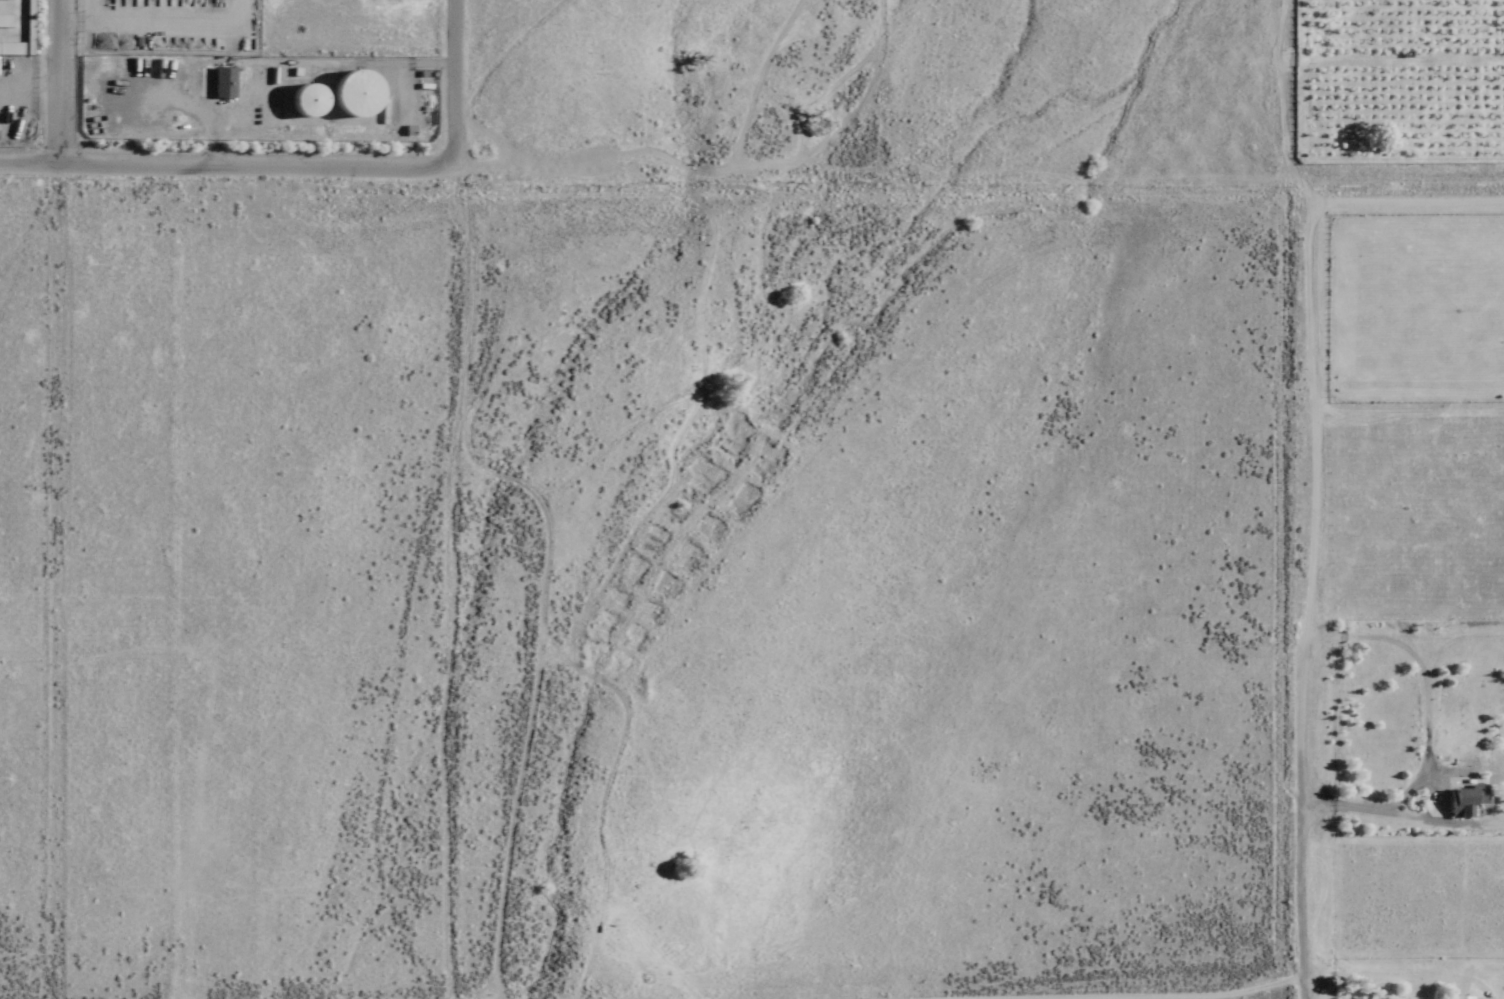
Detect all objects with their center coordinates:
building: (17, 34)
road: (56, 78)
road: (451, 79)
building: (223, 82)
building: (351, 93)
building: (304, 100)
road: (28, 155)
road: (253, 158)
road: (1281, 485)
building: (1458, 810)
road: (1290, 979)
road: (1306, 994)
building: (1460, 997)

